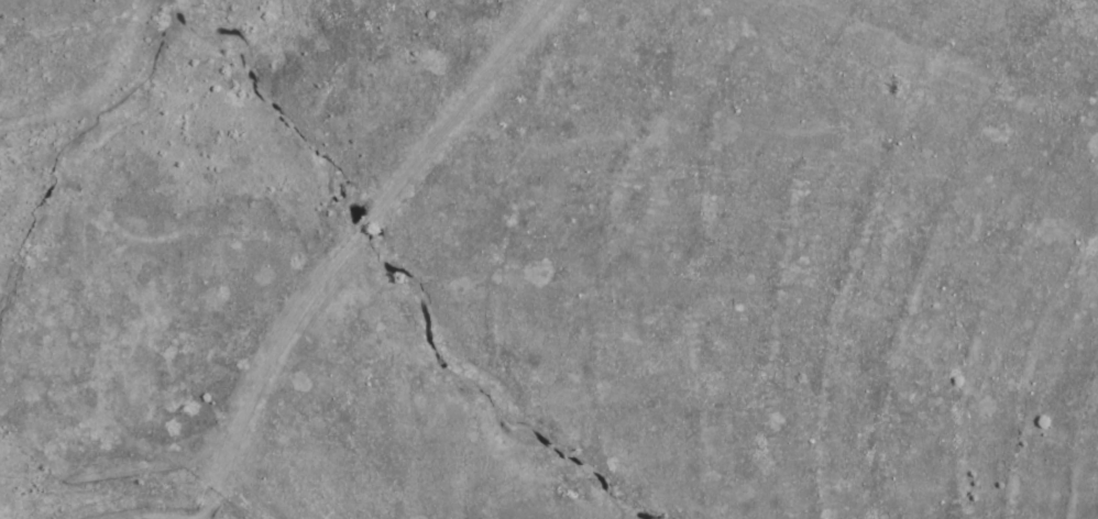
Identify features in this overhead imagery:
road: (162, 512)

